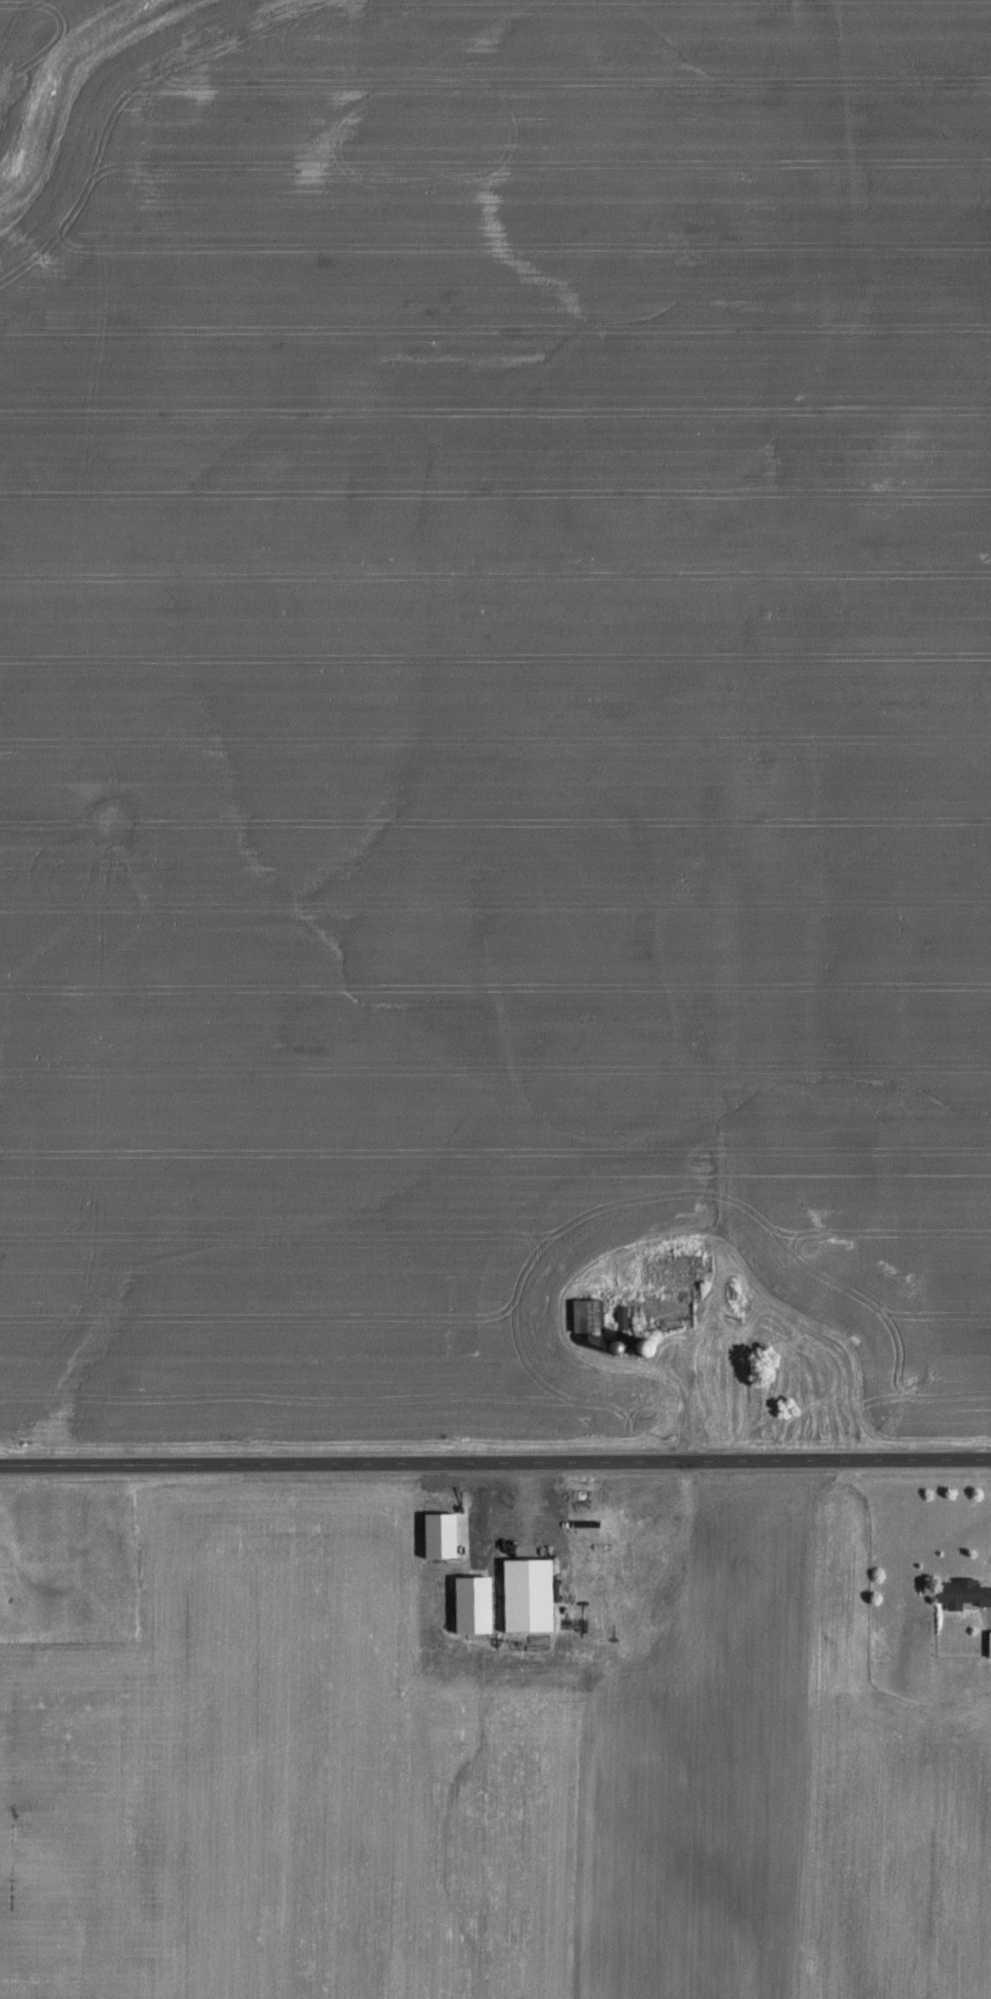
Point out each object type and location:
building: (586, 1315)
road: (495, 1464)
building: (437, 1534)
building: (962, 1593)
building: (526, 1594)
building: (470, 1604)
building: (989, 1644)

